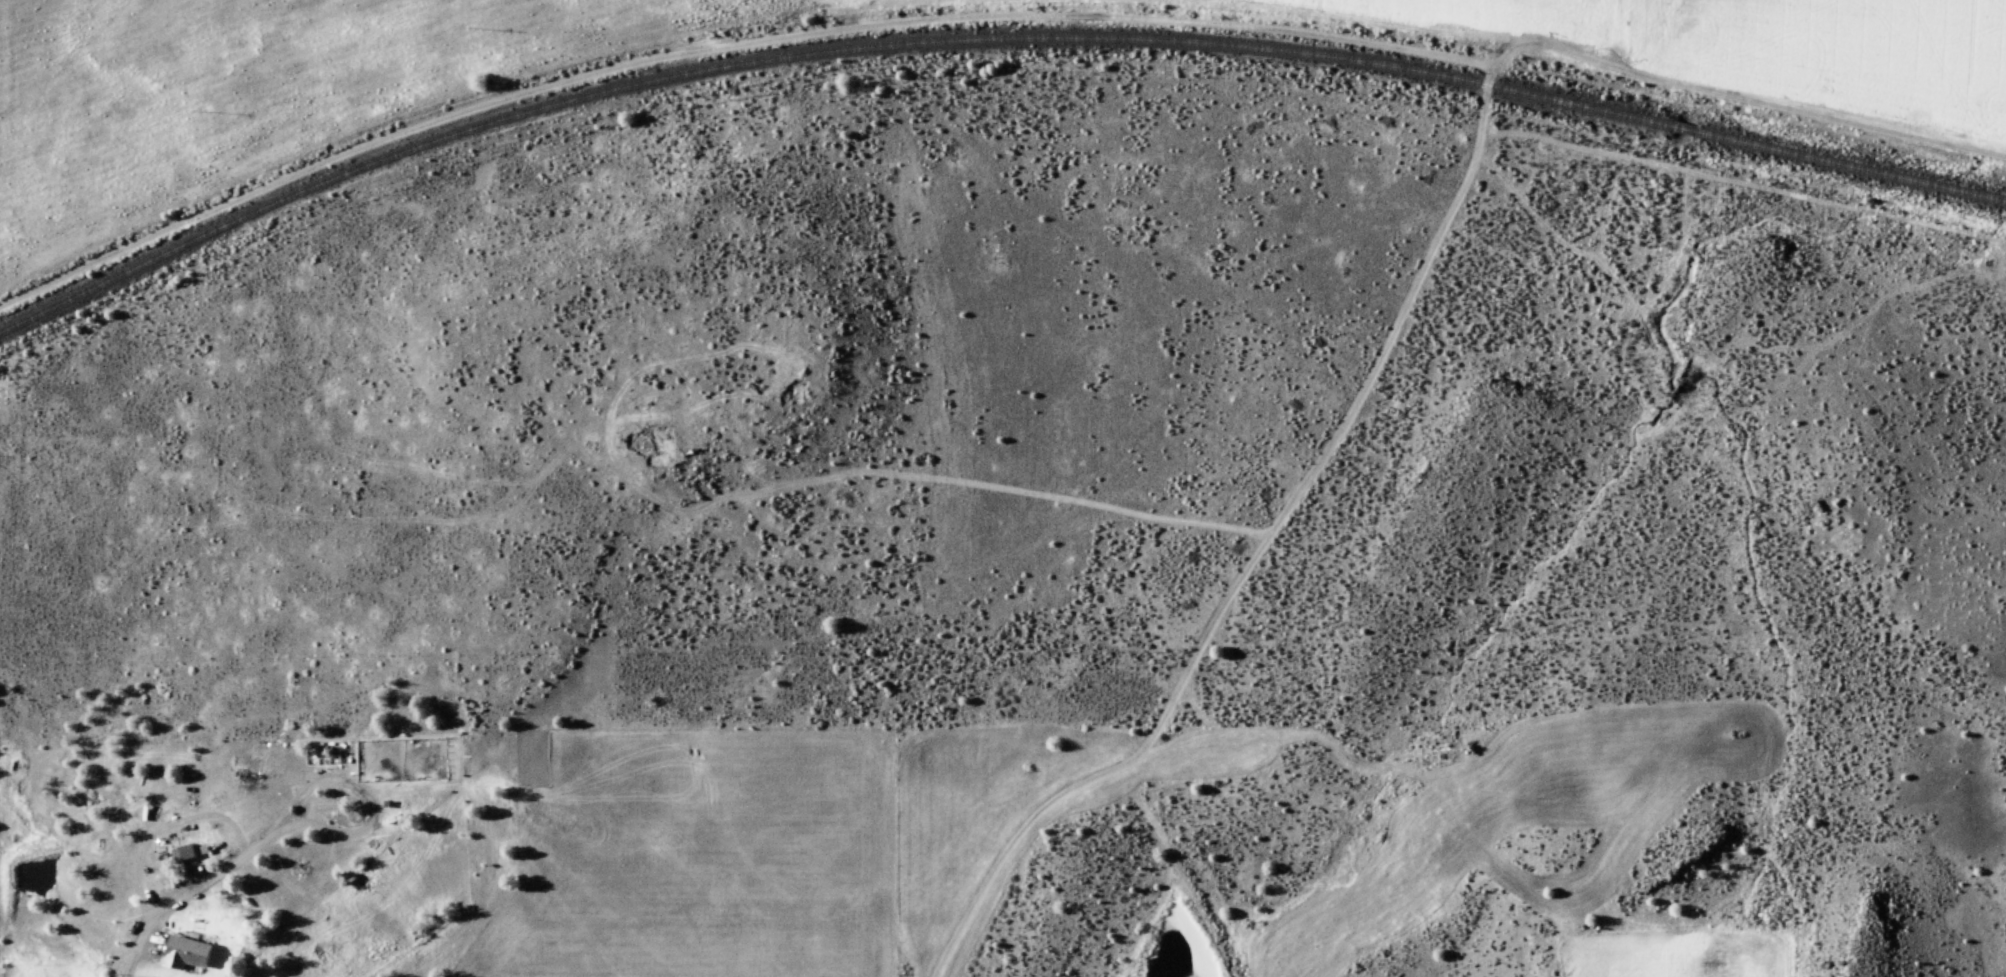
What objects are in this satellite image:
railway: (815, 57)
railway: (1686, 129)
railway: (1852, 168)
road: (1286, 516)
building: (181, 854)
building: (184, 955)

